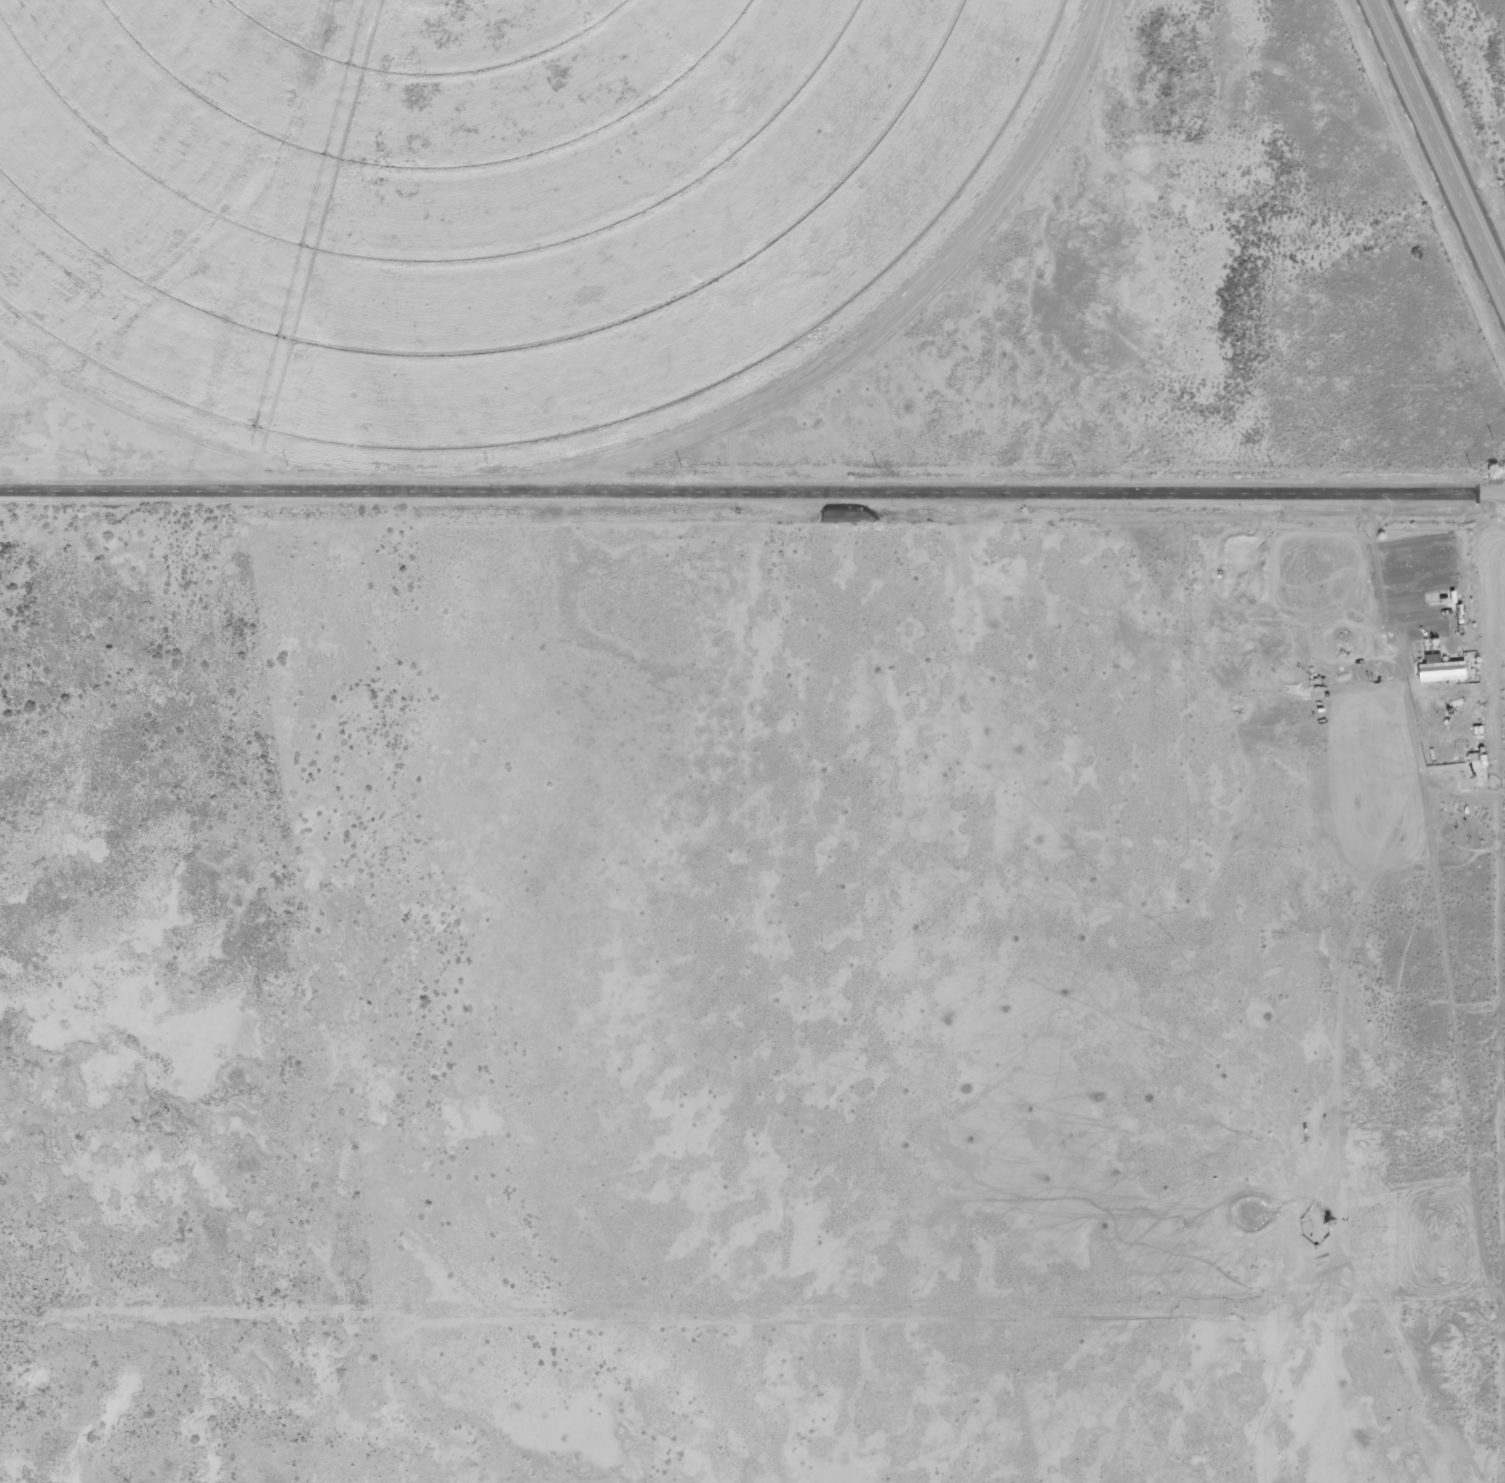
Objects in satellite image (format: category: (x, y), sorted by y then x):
road: (1436, 152)
road: (752, 483)
building: (1440, 668)
road: (1425, 986)

